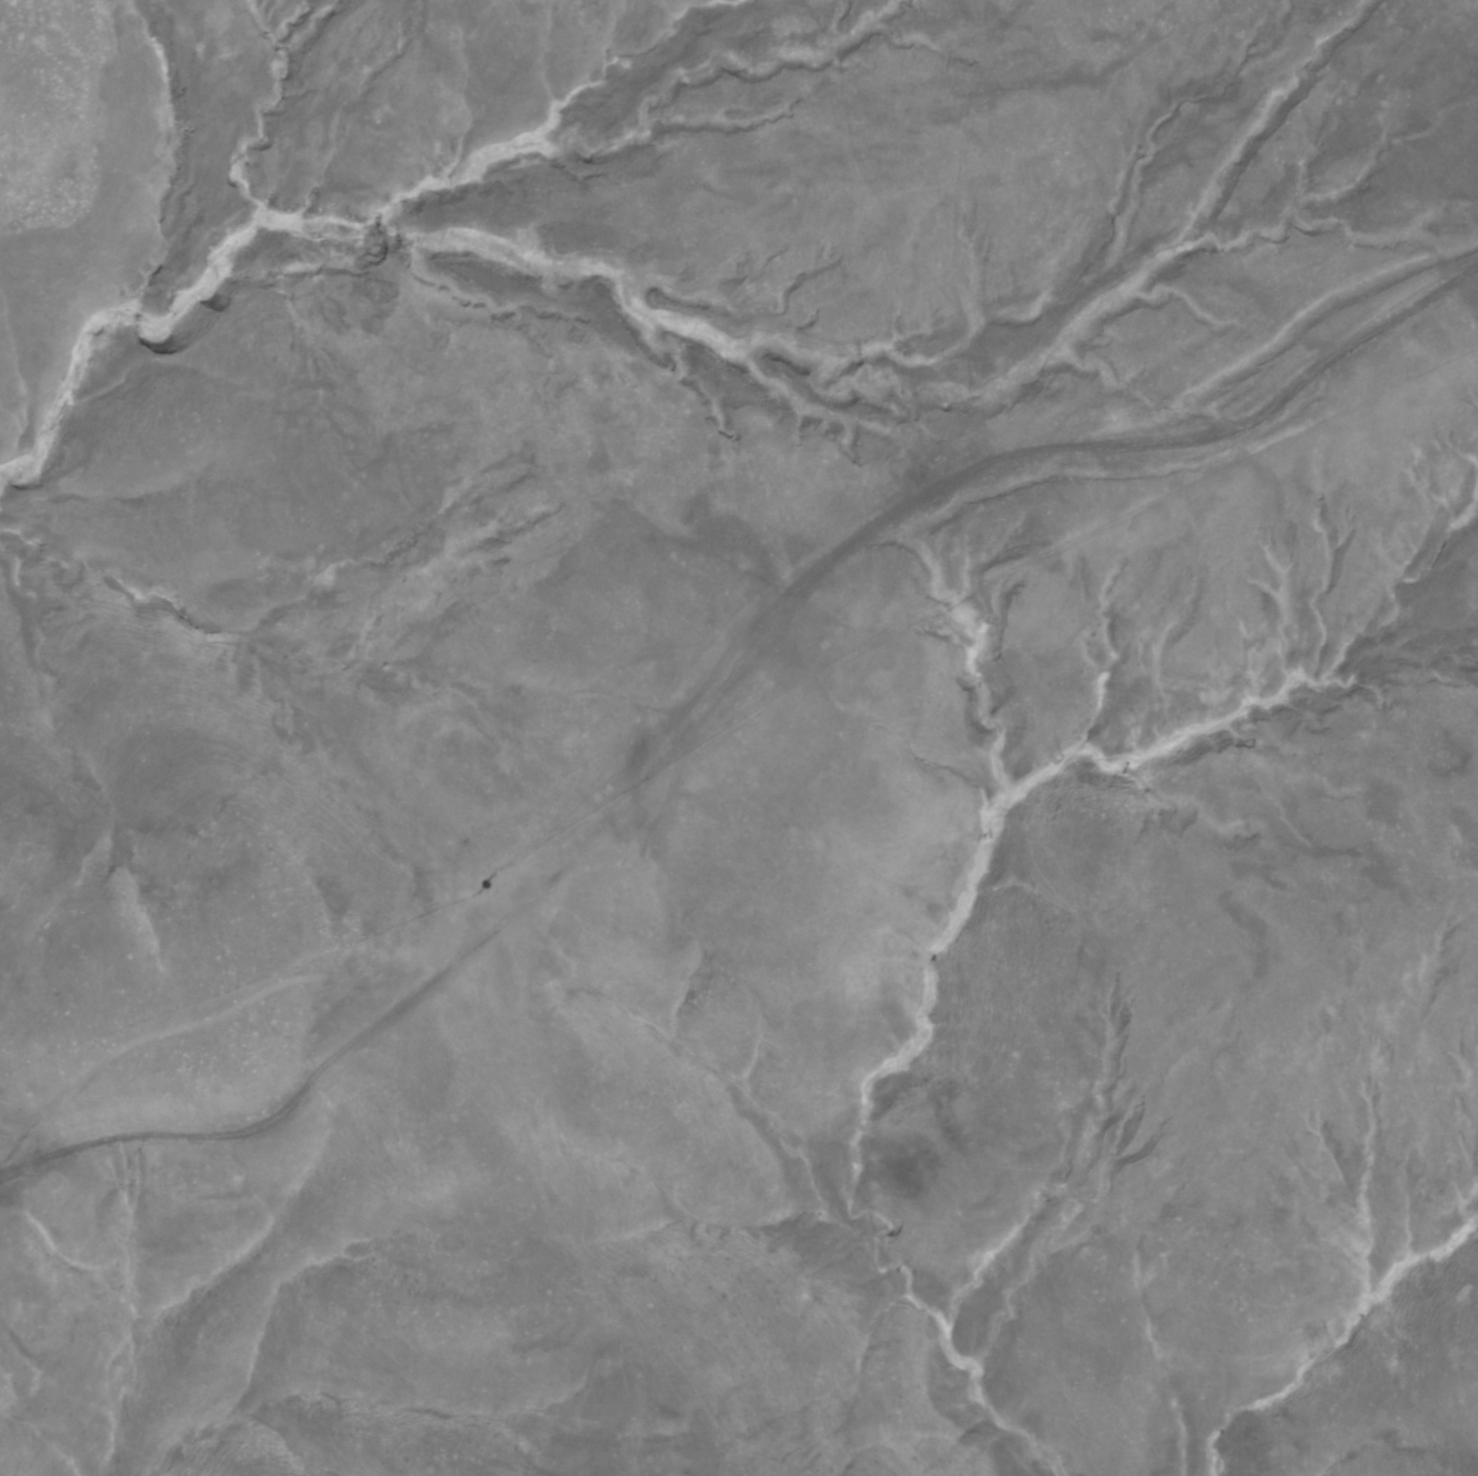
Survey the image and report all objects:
road: (712, 666)

